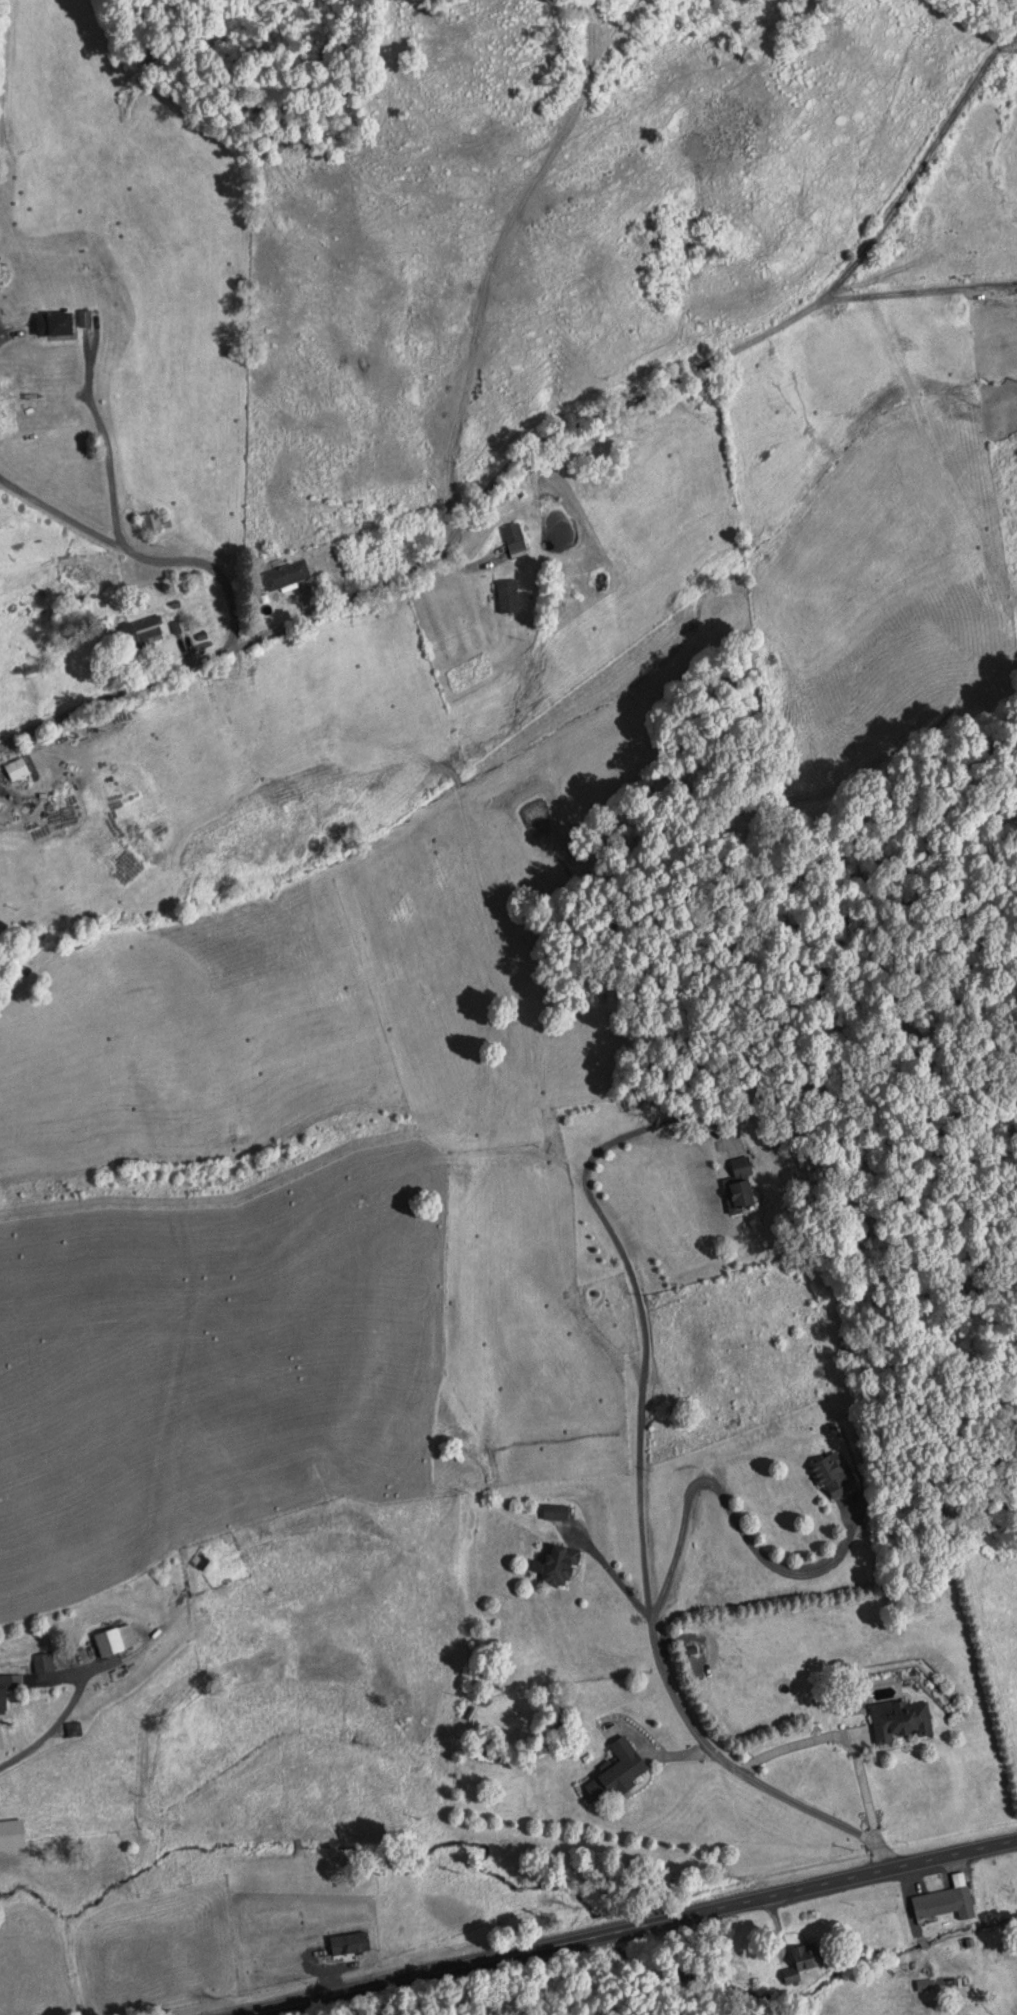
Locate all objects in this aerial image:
road: (500, 261)
building: (84, 319)
building: (53, 323)
road: (543, 445)
building: (146, 523)
building: (511, 533)
building: (285, 575)
building: (507, 595)
building: (140, 631)
building: (15, 768)
building: (739, 1190)
building: (831, 1476)
building: (195, 1559)
road: (610, 1565)
building: (554, 1566)
building: (114, 1641)
building: (42, 1663)
building: (3, 1695)
road: (688, 1703)
building: (899, 1720)
road: (53, 1726)
building: (72, 1730)
road: (802, 1754)
road: (580, 1761)
building: (615, 1774)
building: (11, 1834)
building: (943, 1904)
road: (617, 1915)

